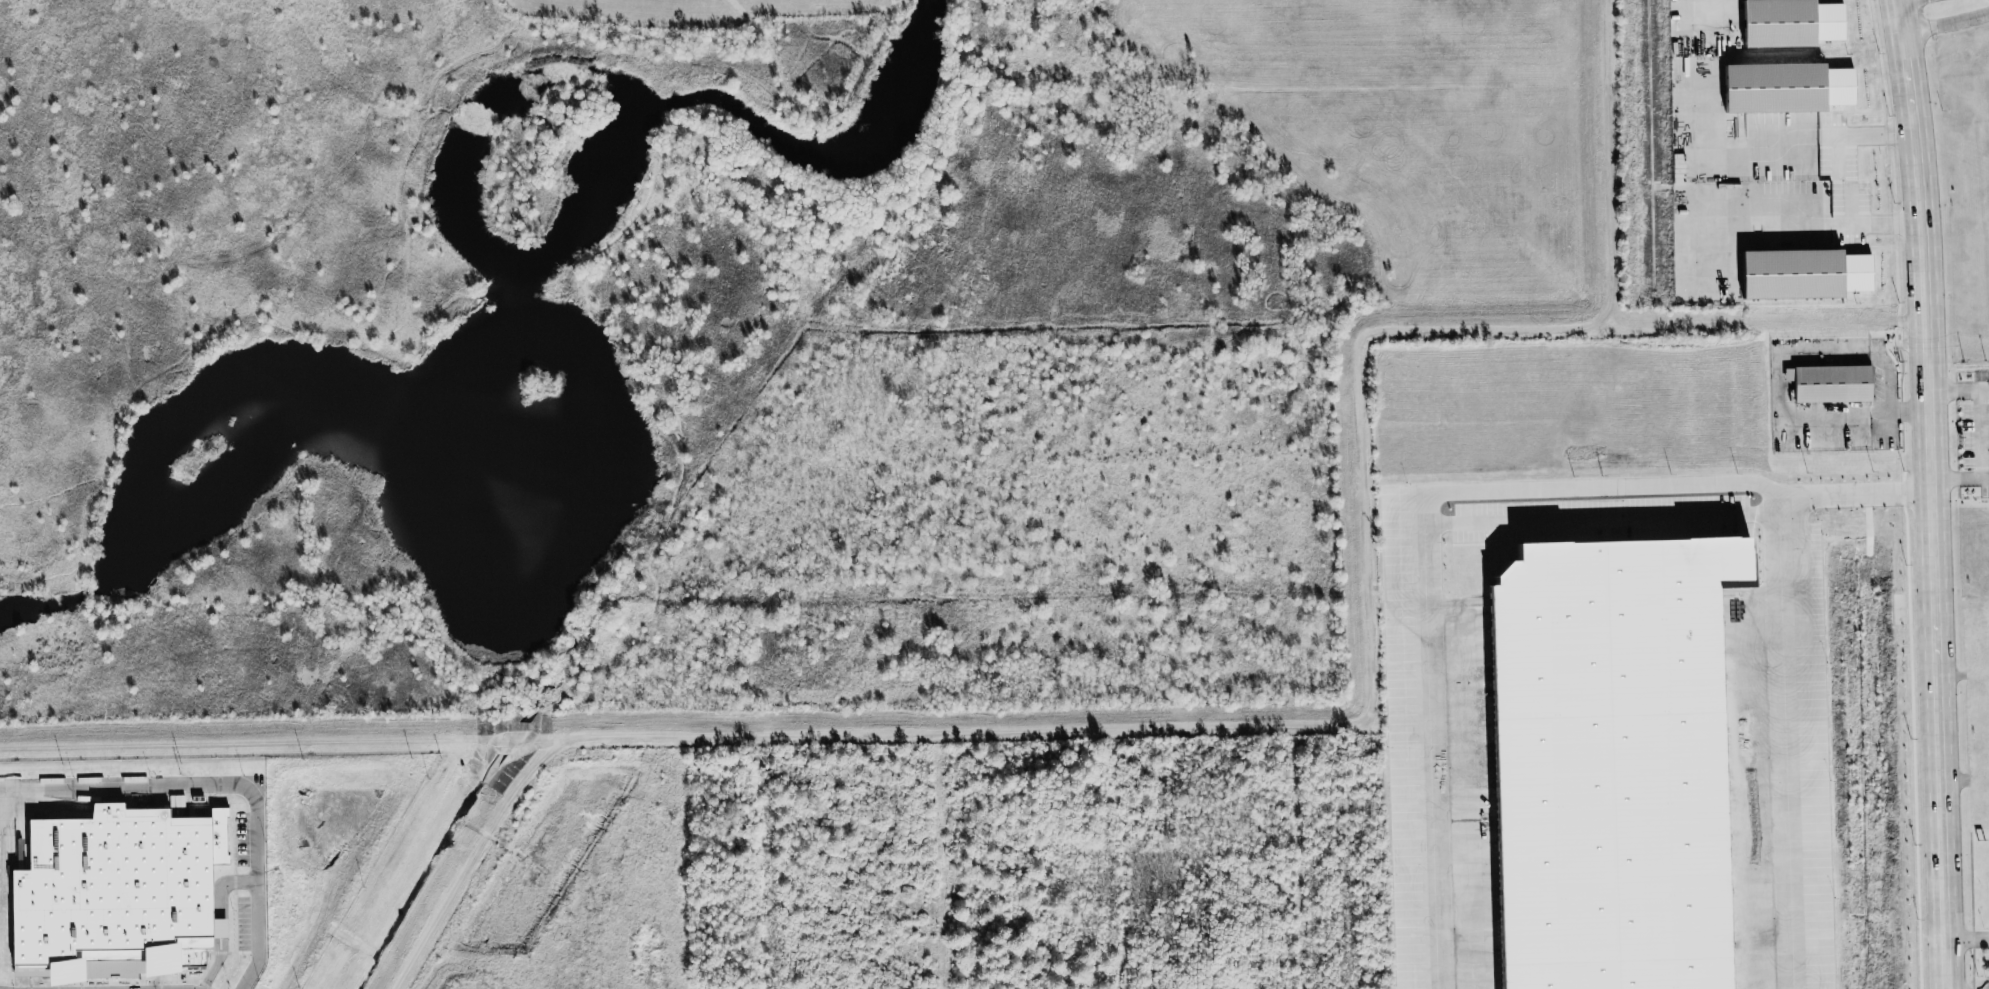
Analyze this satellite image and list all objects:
building: (1784, 23)
road: (1946, 24)
building: (1833, 86)
building: (1765, 88)
road: (1842, 177)
building: (1796, 274)
building: (1825, 383)
road: (1959, 389)
road: (1871, 410)
road: (1980, 433)
road: (1959, 478)
road: (1932, 493)
road: (1602, 518)
road: (1426, 566)
building: (1709, 628)
road: (1780, 665)
building: (1501, 672)
road: (224, 786)
building: (118, 894)
road: (222, 921)
road: (1965, 936)
building: (1500, 973)
parking lot: (16, 988)
road: (151, 988)
road: (175, 988)

